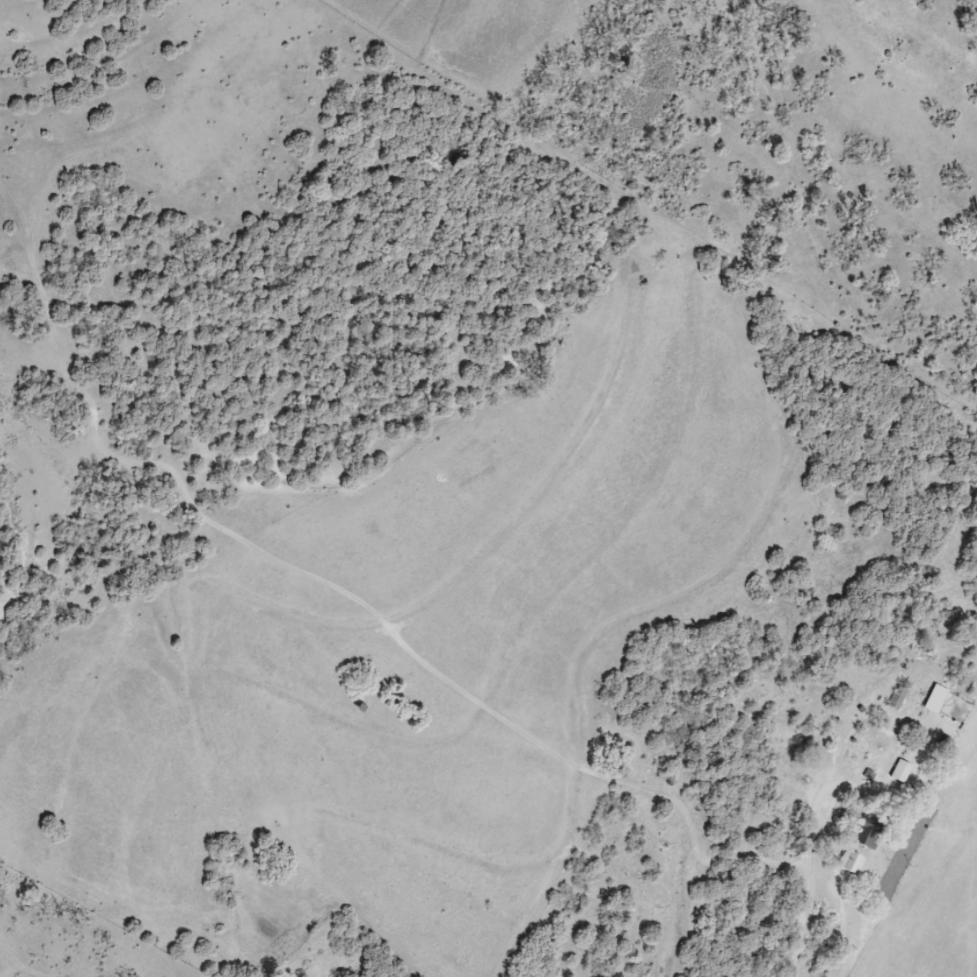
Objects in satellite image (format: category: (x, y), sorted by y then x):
building: (898, 699)
building: (901, 771)
building: (868, 833)
building: (852, 862)
road: (809, 878)

